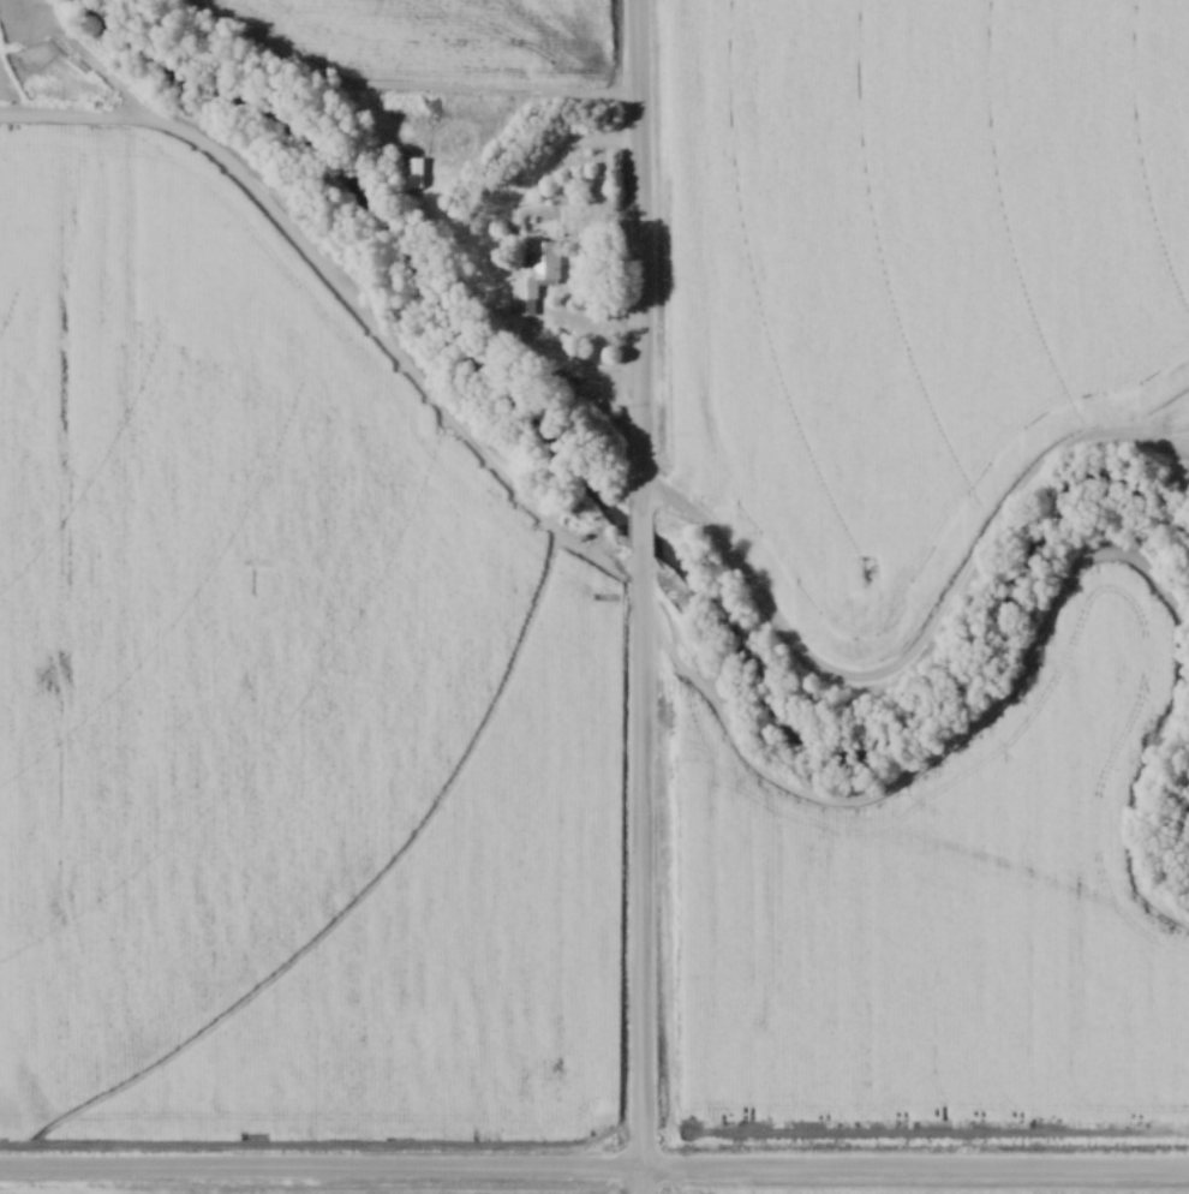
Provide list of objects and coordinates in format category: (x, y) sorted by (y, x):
road: (635, 255)
building: (534, 277)
road: (562, 365)
road: (637, 532)
road: (634, 872)
road: (594, 1170)

